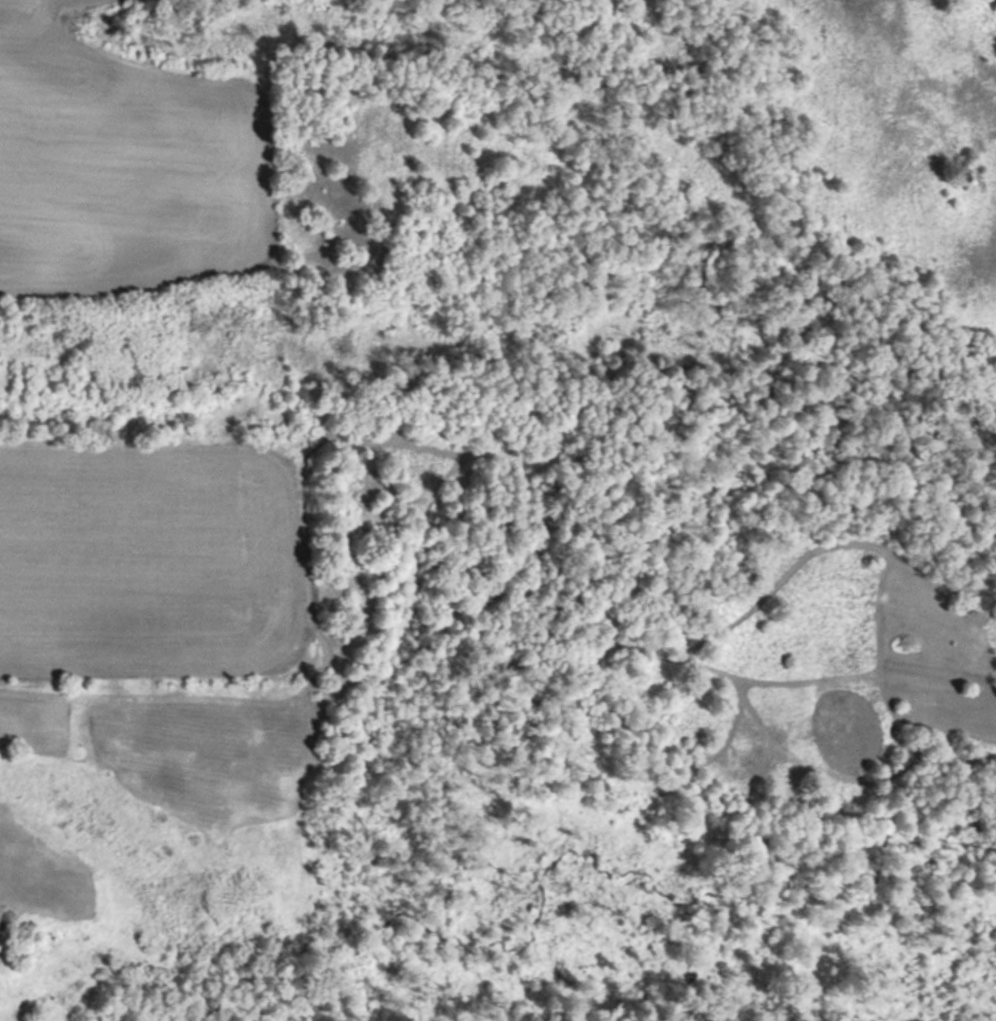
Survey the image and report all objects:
building: (0, 929)

